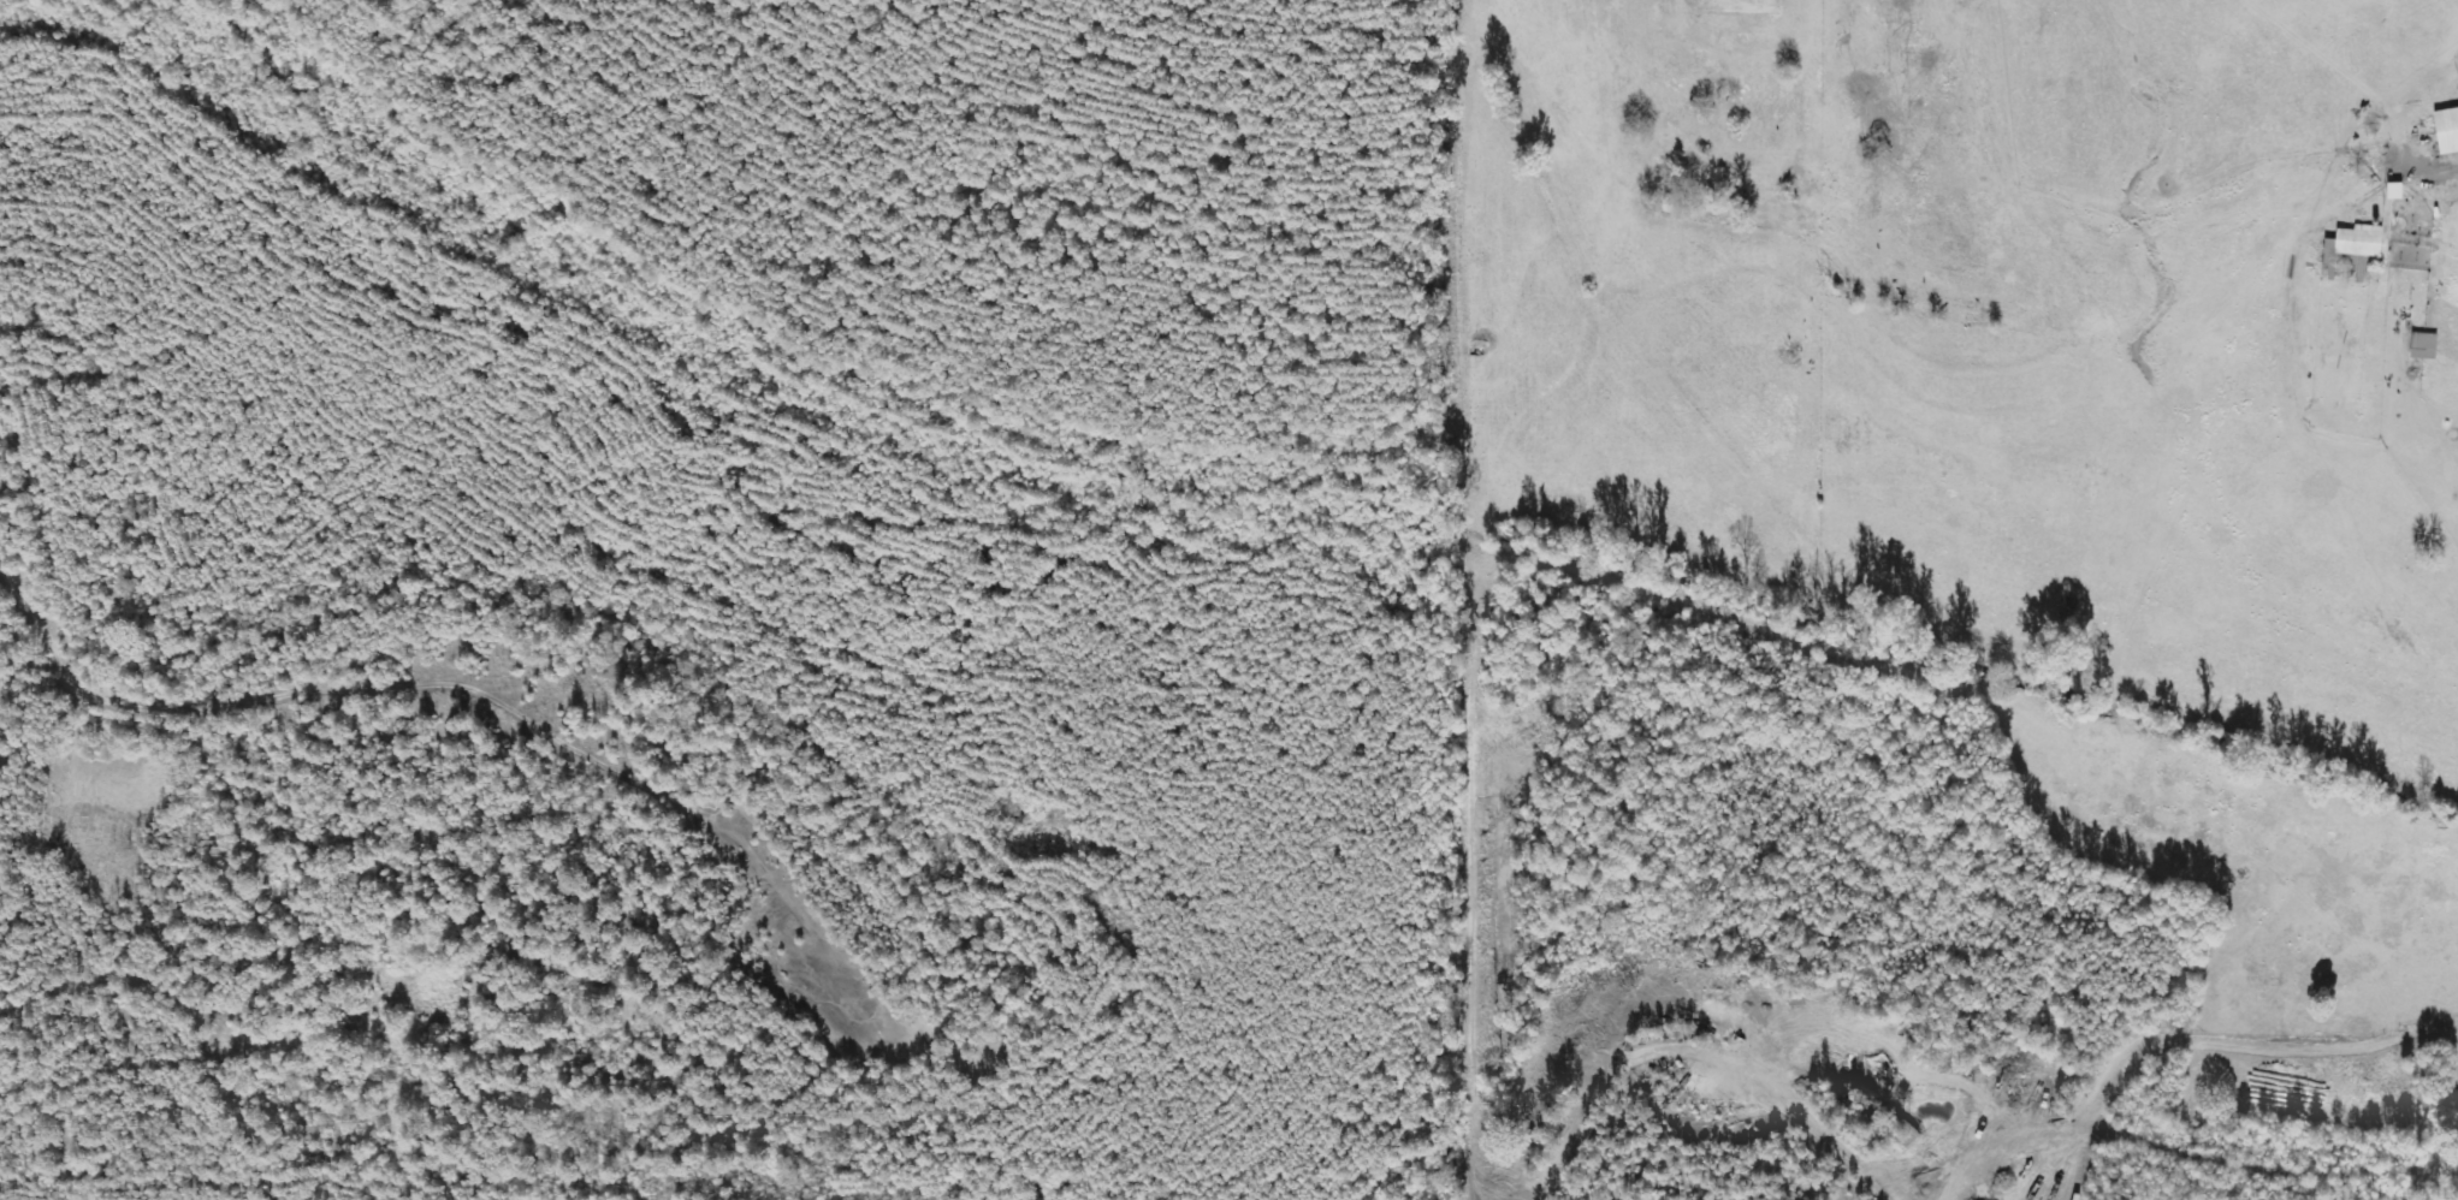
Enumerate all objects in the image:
building: (2448, 130)
building: (2355, 245)

